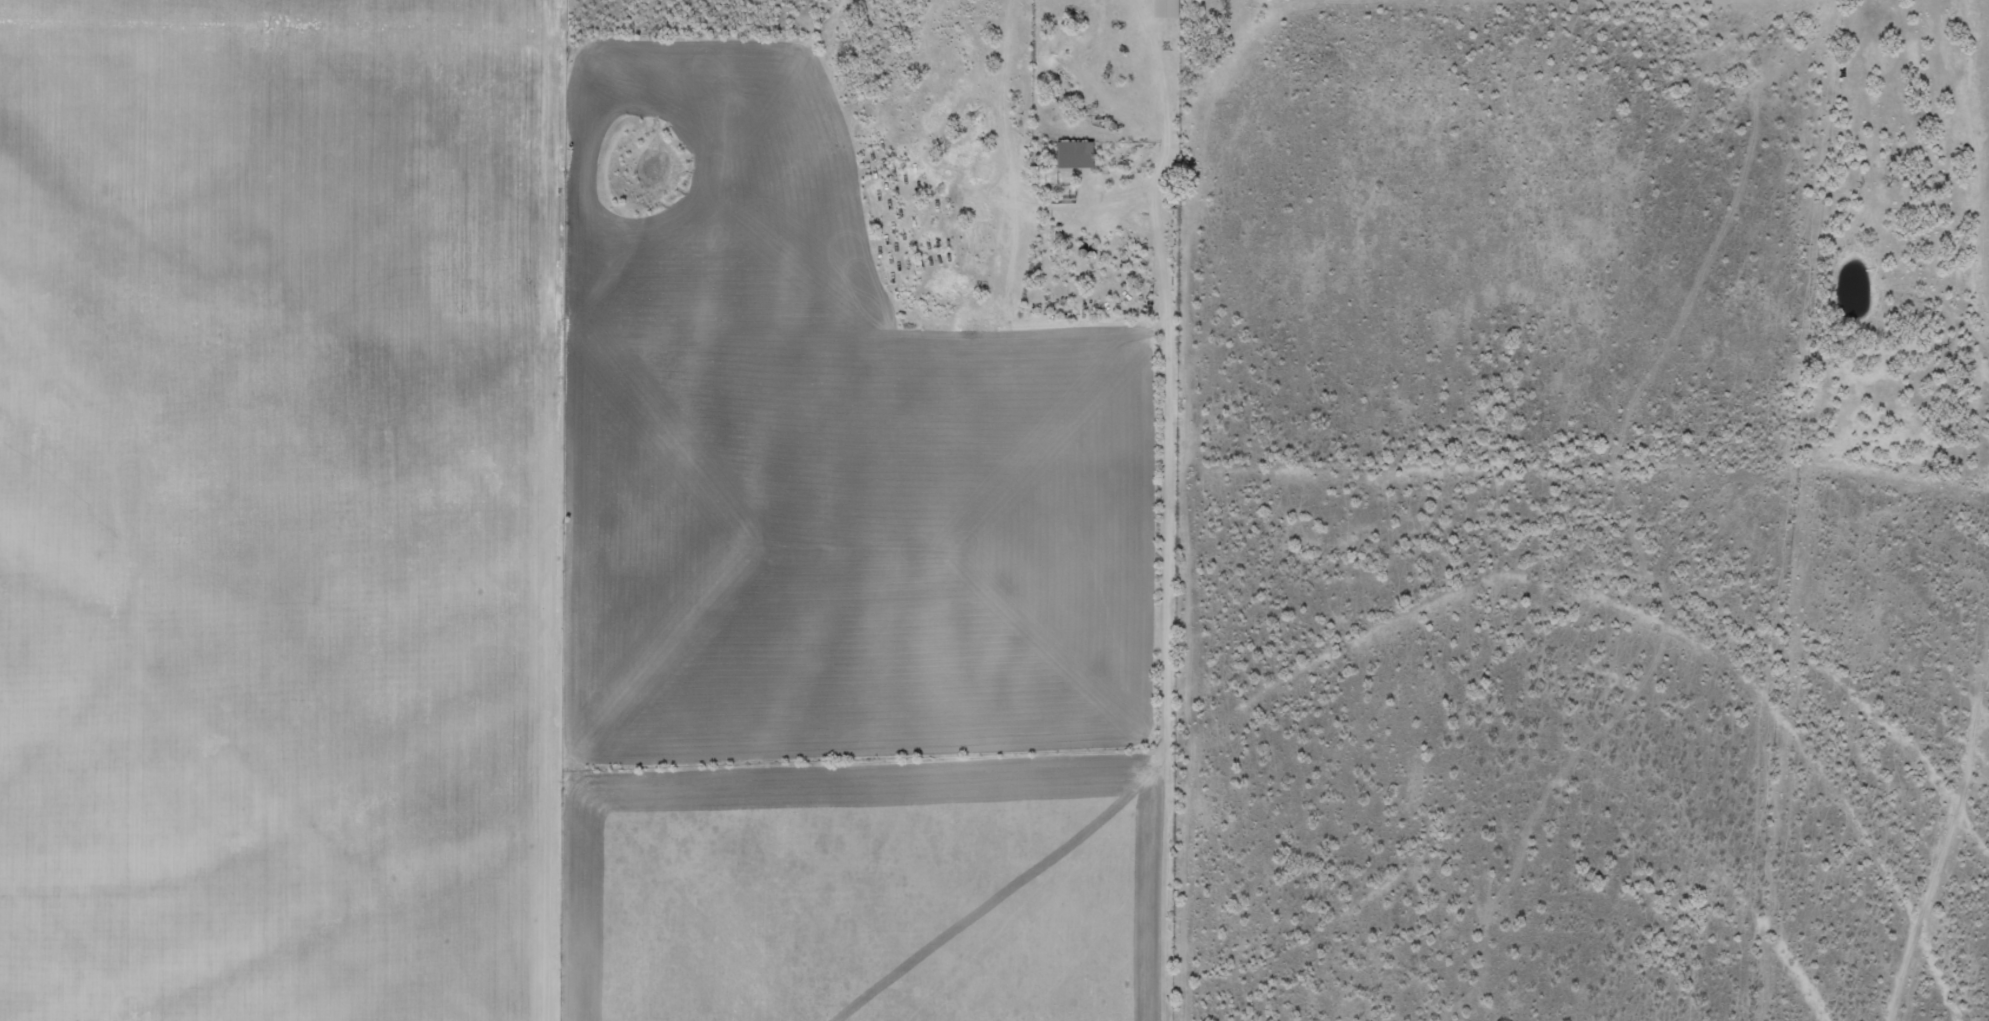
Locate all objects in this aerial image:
building: (1158, 9)
road: (1185, 78)
building: (1067, 154)

